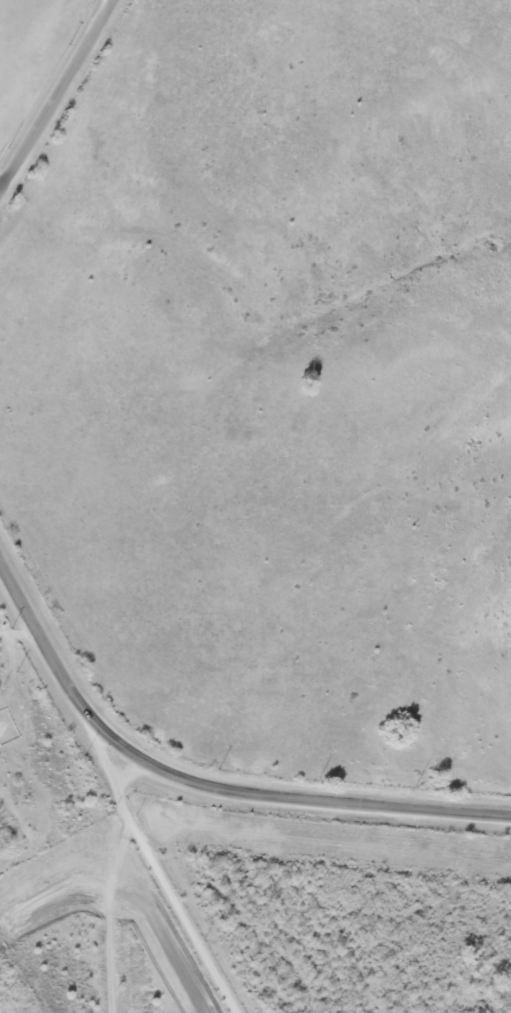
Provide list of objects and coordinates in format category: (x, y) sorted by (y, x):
road: (114, 3)
road: (60, 101)
road: (40, 625)
road: (282, 793)
road: (157, 857)
road: (124, 896)

